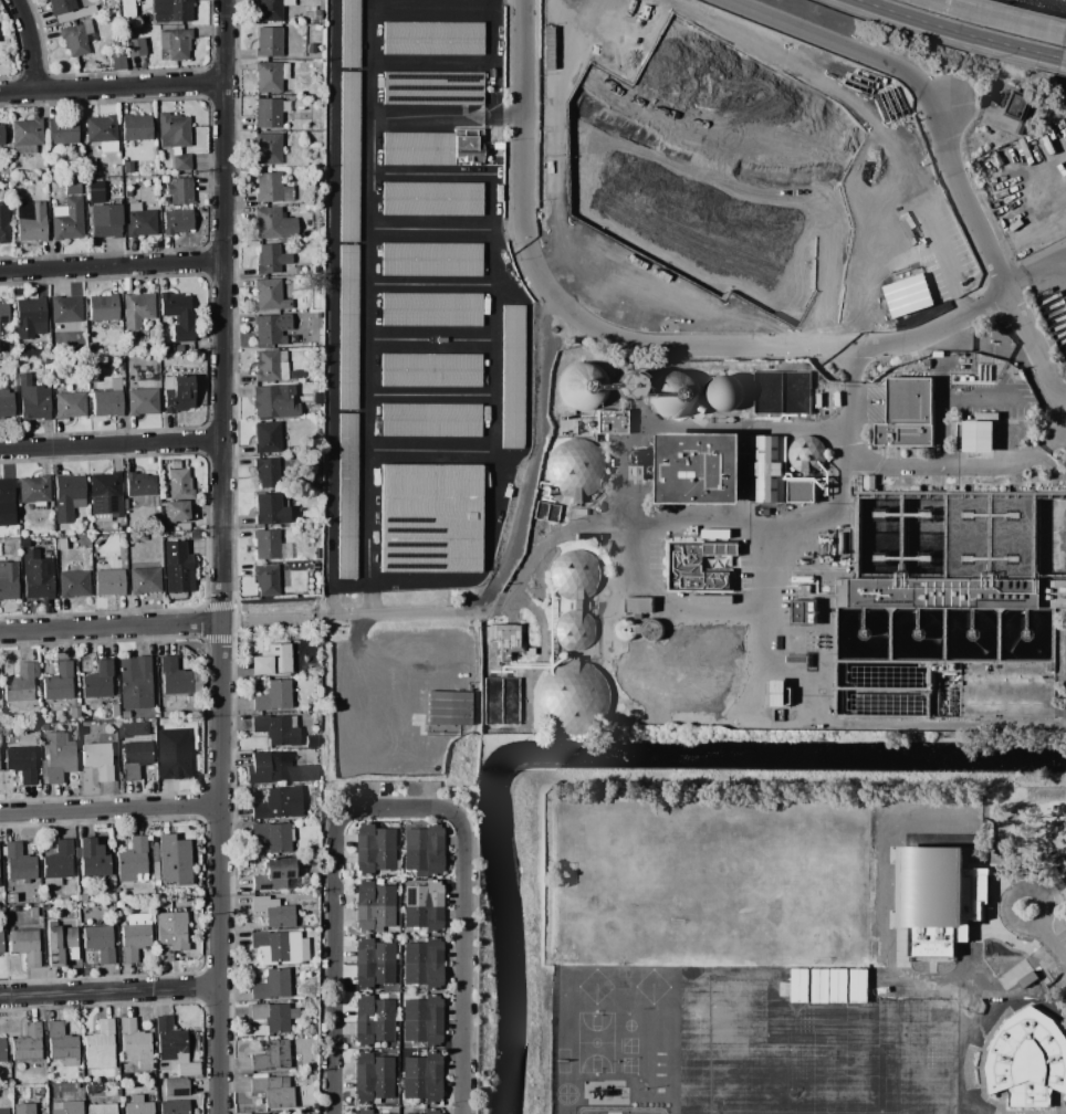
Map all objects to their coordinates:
road: (431, 1)
building: (61, 6)
building: (173, 11)
building: (270, 11)
road: (1023, 11)
road: (996, 21)
road: (370, 30)
road: (954, 31)
building: (349, 33)
building: (77, 36)
building: (432, 36)
road: (932, 40)
building: (269, 41)
road: (32, 43)
building: (176, 43)
building: (135, 46)
road: (1059, 59)
building: (118, 61)
road: (463, 62)
road: (1058, 72)
building: (271, 76)
road: (112, 86)
building: (432, 87)
road: (372, 88)
road: (535, 103)
road: (525, 106)
road: (947, 108)
building: (269, 113)
building: (136, 127)
building: (62, 130)
building: (173, 130)
building: (103, 133)
building: (1, 135)
building: (27, 135)
building: (269, 148)
building: (440, 148)
road: (947, 151)
road: (510, 155)
building: (348, 156)
building: (181, 161)
building: (127, 167)
road: (458, 171)
building: (96, 186)
building: (72, 188)
building: (272, 188)
building: (180, 191)
building: (128, 193)
building: (431, 199)
building: (67, 219)
building: (32, 220)
building: (139, 220)
building: (105, 221)
building: (177, 221)
building: (3, 223)
building: (274, 223)
road: (1052, 224)
building: (892, 246)
building: (272, 258)
building: (430, 260)
road: (112, 263)
road: (943, 266)
road: (428, 283)
building: (271, 295)
building: (103, 307)
building: (65, 309)
building: (137, 309)
building: (431, 309)
building: (178, 315)
building: (31, 317)
building: (3, 319)
building: (348, 326)
building: (272, 329)
road: (931, 330)
road: (649, 343)
building: (272, 366)
building: (430, 370)
building: (512, 376)
building: (627, 385)
building: (582, 386)
building: (724, 391)
road: (429, 392)
building: (782, 392)
building: (178, 393)
building: (675, 393)
road: (1063, 396)
building: (33, 400)
building: (108, 400)
road: (947, 400)
building: (143, 401)
building: (274, 401)
building: (6, 403)
building: (70, 404)
building: (908, 413)
building: (430, 420)
building: (610, 422)
building: (979, 437)
building: (268, 438)
road: (494, 442)
road: (112, 443)
road: (429, 448)
building: (806, 454)
road: (534, 455)
road: (961, 465)
building: (575, 467)
building: (700, 467)
building: (766, 469)
building: (266, 472)
building: (140, 484)
building: (180, 484)
building: (34, 491)
building: (802, 491)
building: (6, 494)
building: (106, 495)
building: (69, 496)
building: (346, 496)
building: (270, 509)
building: (177, 511)
road: (728, 517)
building: (429, 518)
building: (905, 539)
building: (61, 545)
building: (270, 545)
road: (222, 557)
building: (179, 567)
building: (698, 567)
building: (36, 575)
building: (574, 575)
building: (107, 578)
building: (9, 579)
building: (145, 580)
building: (266, 580)
building: (74, 584)
building: (944, 595)
road: (665, 597)
building: (639, 605)
building: (805, 612)
road: (395, 614)
road: (752, 618)
road: (155, 624)
building: (573, 630)
building: (625, 630)
building: (652, 630)
building: (711, 634)
building: (504, 638)
building: (271, 659)
building: (638, 673)
building: (699, 674)
building: (175, 677)
building: (97, 681)
building: (59, 682)
building: (135, 682)
building: (19, 684)
building: (776, 693)
building: (274, 695)
building: (573, 697)
building: (501, 702)
road: (360, 713)
building: (132, 728)
building: (276, 729)
building: (312, 742)
building: (173, 755)
building: (59, 756)
building: (137, 757)
building: (97, 759)
building: (22, 763)
building: (269, 767)
building: (307, 774)
building: (279, 803)
road: (399, 808)
road: (111, 810)
building: (272, 835)
building: (373, 848)
building: (422, 849)
building: (93, 858)
building: (133, 860)
building: (59, 861)
building: (175, 861)
building: (20, 863)
building: (274, 874)
park: (1026, 877)
park: (770, 883)
road: (1047, 896)
building: (373, 905)
building: (421, 905)
building: (272, 912)
building: (170, 934)
building: (135, 935)
road: (1047, 937)
building: (61, 940)
building: (1, 943)
building: (100, 943)
building: (25, 946)
building: (276, 946)
building: (373, 963)
building: (422, 964)
building: (272, 985)
building: (857, 985)
road: (109, 990)
building: (274, 1016)
building: (373, 1020)
building: (421, 1020)
building: (170, 1040)
building: (28, 1043)
building: (61, 1043)
building: (135, 1043)
building: (100, 1045)
building: (2, 1050)
building: (272, 1055)
building: (1028, 1060)
building: (372, 1078)
building: (422, 1078)
building: (615, 1078)
building: (177, 1087)
building: (273, 1091)
building: (628, 1091)
building: (589, 1102)
building: (138, 1106)
building: (174, 1106)
building: (66, 1107)
building: (24, 1108)
building: (102, 1108)
building: (606, 1110)
building: (3, 1111)
building: (367, 1111)
building: (431, 1111)
building: (301, 1112)
building: (260, 1113)

